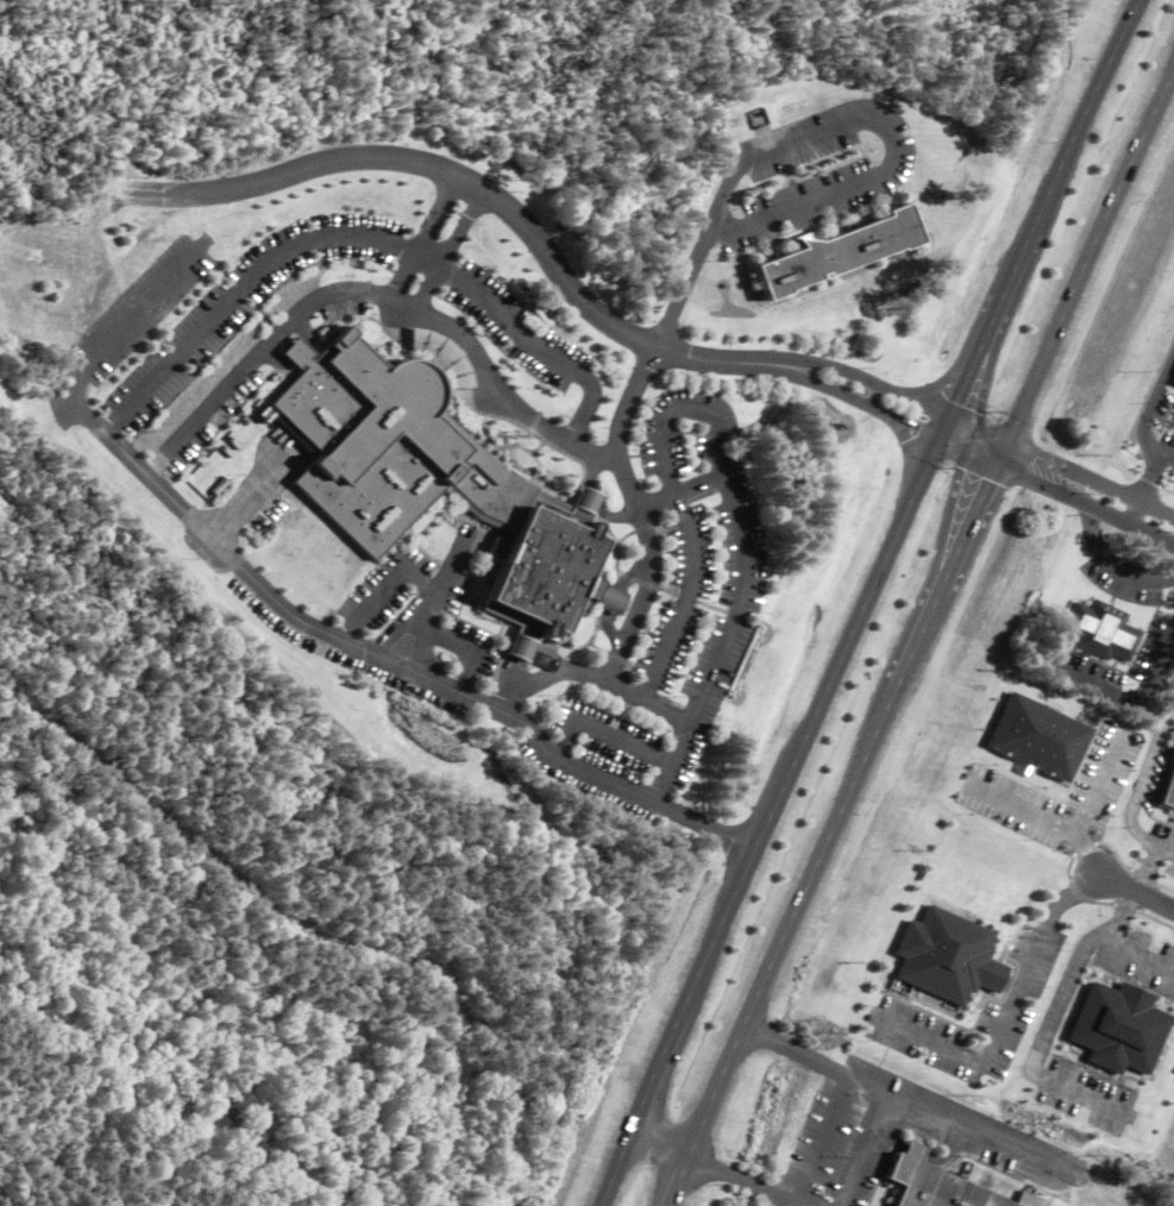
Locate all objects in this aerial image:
road: (1076, 128)
building: (761, 130)
road: (886, 134)
road: (471, 186)
road: (422, 239)
building: (836, 251)
road: (447, 252)
road: (1088, 256)
road: (404, 308)
road: (978, 348)
building: (1170, 379)
road: (885, 388)
road: (849, 396)
road: (507, 400)
traffic signals: (955, 401)
road: (677, 407)
building: (1170, 423)
traffic signals: (918, 429)
building: (372, 439)
road: (617, 450)
traffic signals: (1032, 456)
road: (1150, 475)
traffic signals: (990, 479)
road: (1088, 480)
road: (679, 491)
road: (1055, 492)
building: (586, 500)
road: (1134, 514)
road: (968, 525)
building: (531, 549)
road: (1110, 565)
building: (608, 598)
building: (1099, 629)
road: (730, 643)
building: (520, 648)
road: (648, 705)
road: (811, 721)
road: (1047, 822)
road: (704, 827)
road: (809, 882)
road: (1136, 896)
road: (1135, 954)
building: (948, 956)
road: (1010, 1005)
road: (1050, 1016)
road: (655, 1068)
road: (847, 1086)
road: (955, 1119)
road: (712, 1168)
road: (613, 1169)
road: (676, 1182)
building: (935, 1187)

